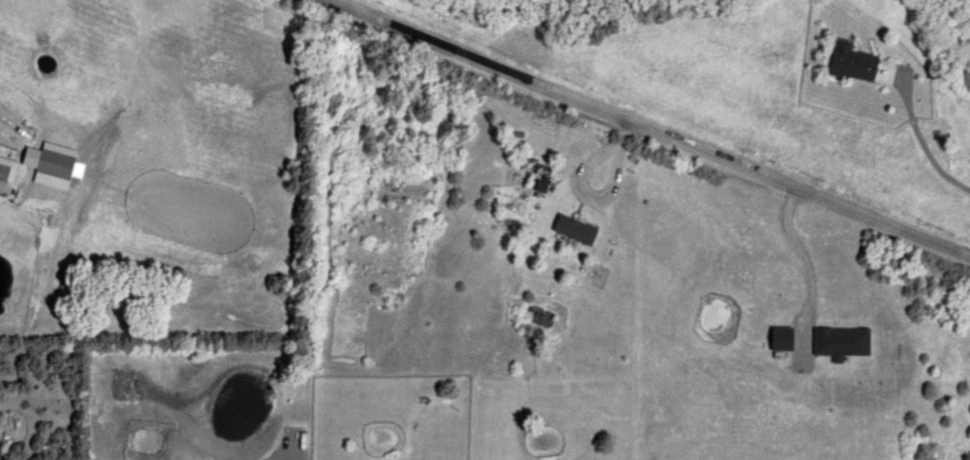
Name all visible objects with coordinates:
building: (843, 62)
road: (647, 127)
road: (920, 142)
building: (57, 164)
building: (8, 169)
road: (578, 184)
building: (569, 230)
road: (799, 256)
road: (272, 459)

